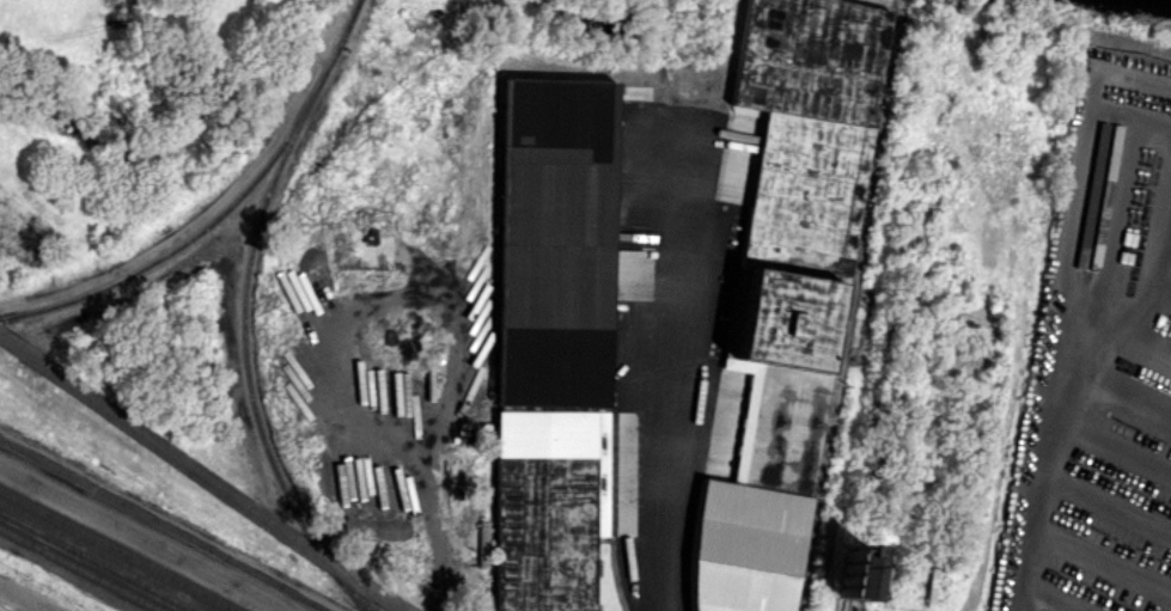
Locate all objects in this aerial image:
building: (1092, 184)
building: (1106, 184)
building: (795, 221)
railway: (205, 226)
building: (554, 243)
railway: (846, 308)
railway: (244, 311)
road: (678, 363)
road: (1054, 426)
building: (548, 507)
railway: (163, 525)
building: (744, 548)
railway: (117, 551)
railway: (105, 556)
railway: (93, 563)
railway: (80, 569)
building: (855, 572)
road: (20, 600)
road: (36, 610)

